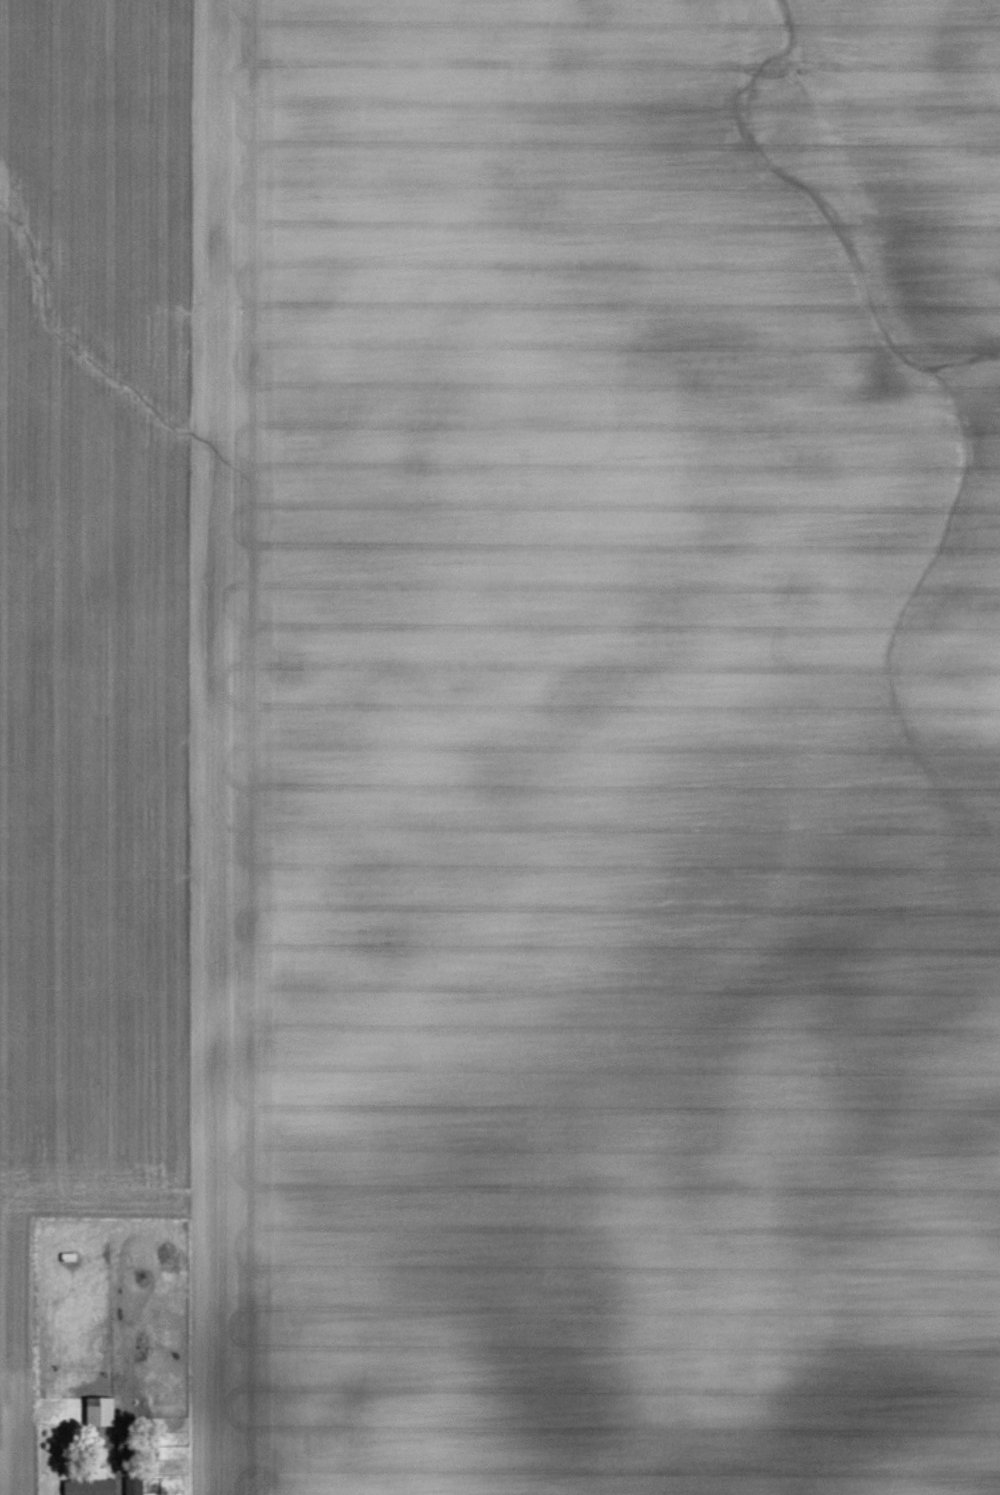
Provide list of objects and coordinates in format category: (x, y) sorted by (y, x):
building: (97, 1412)
building: (89, 1485)
building: (131, 1486)

